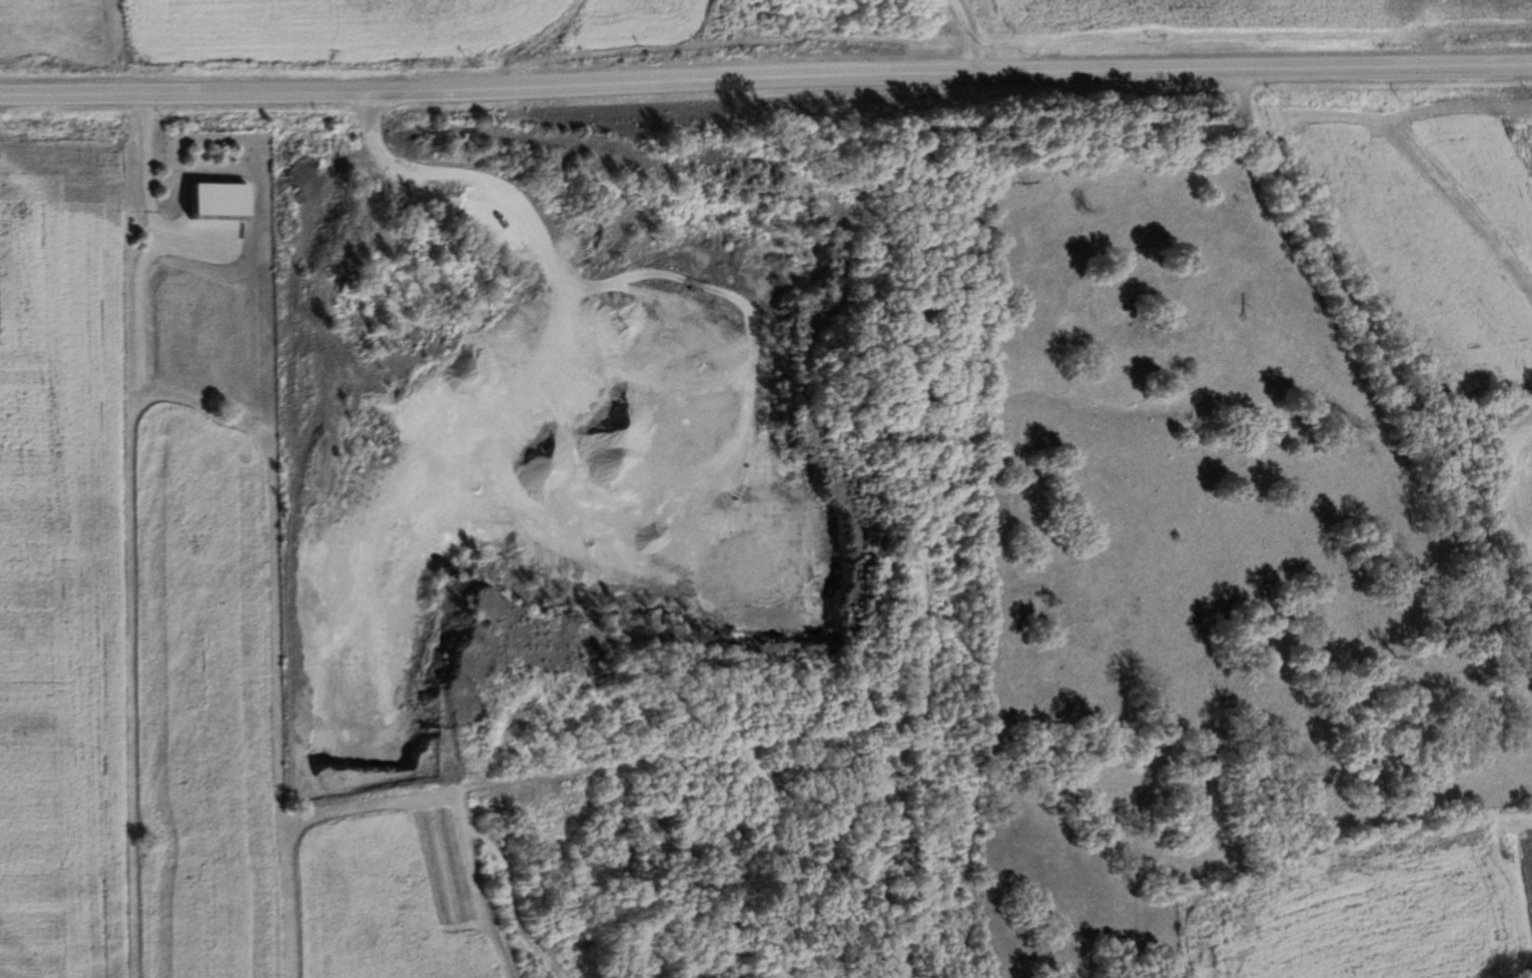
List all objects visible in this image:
road: (528, 41)
road: (766, 83)
road: (1377, 346)

